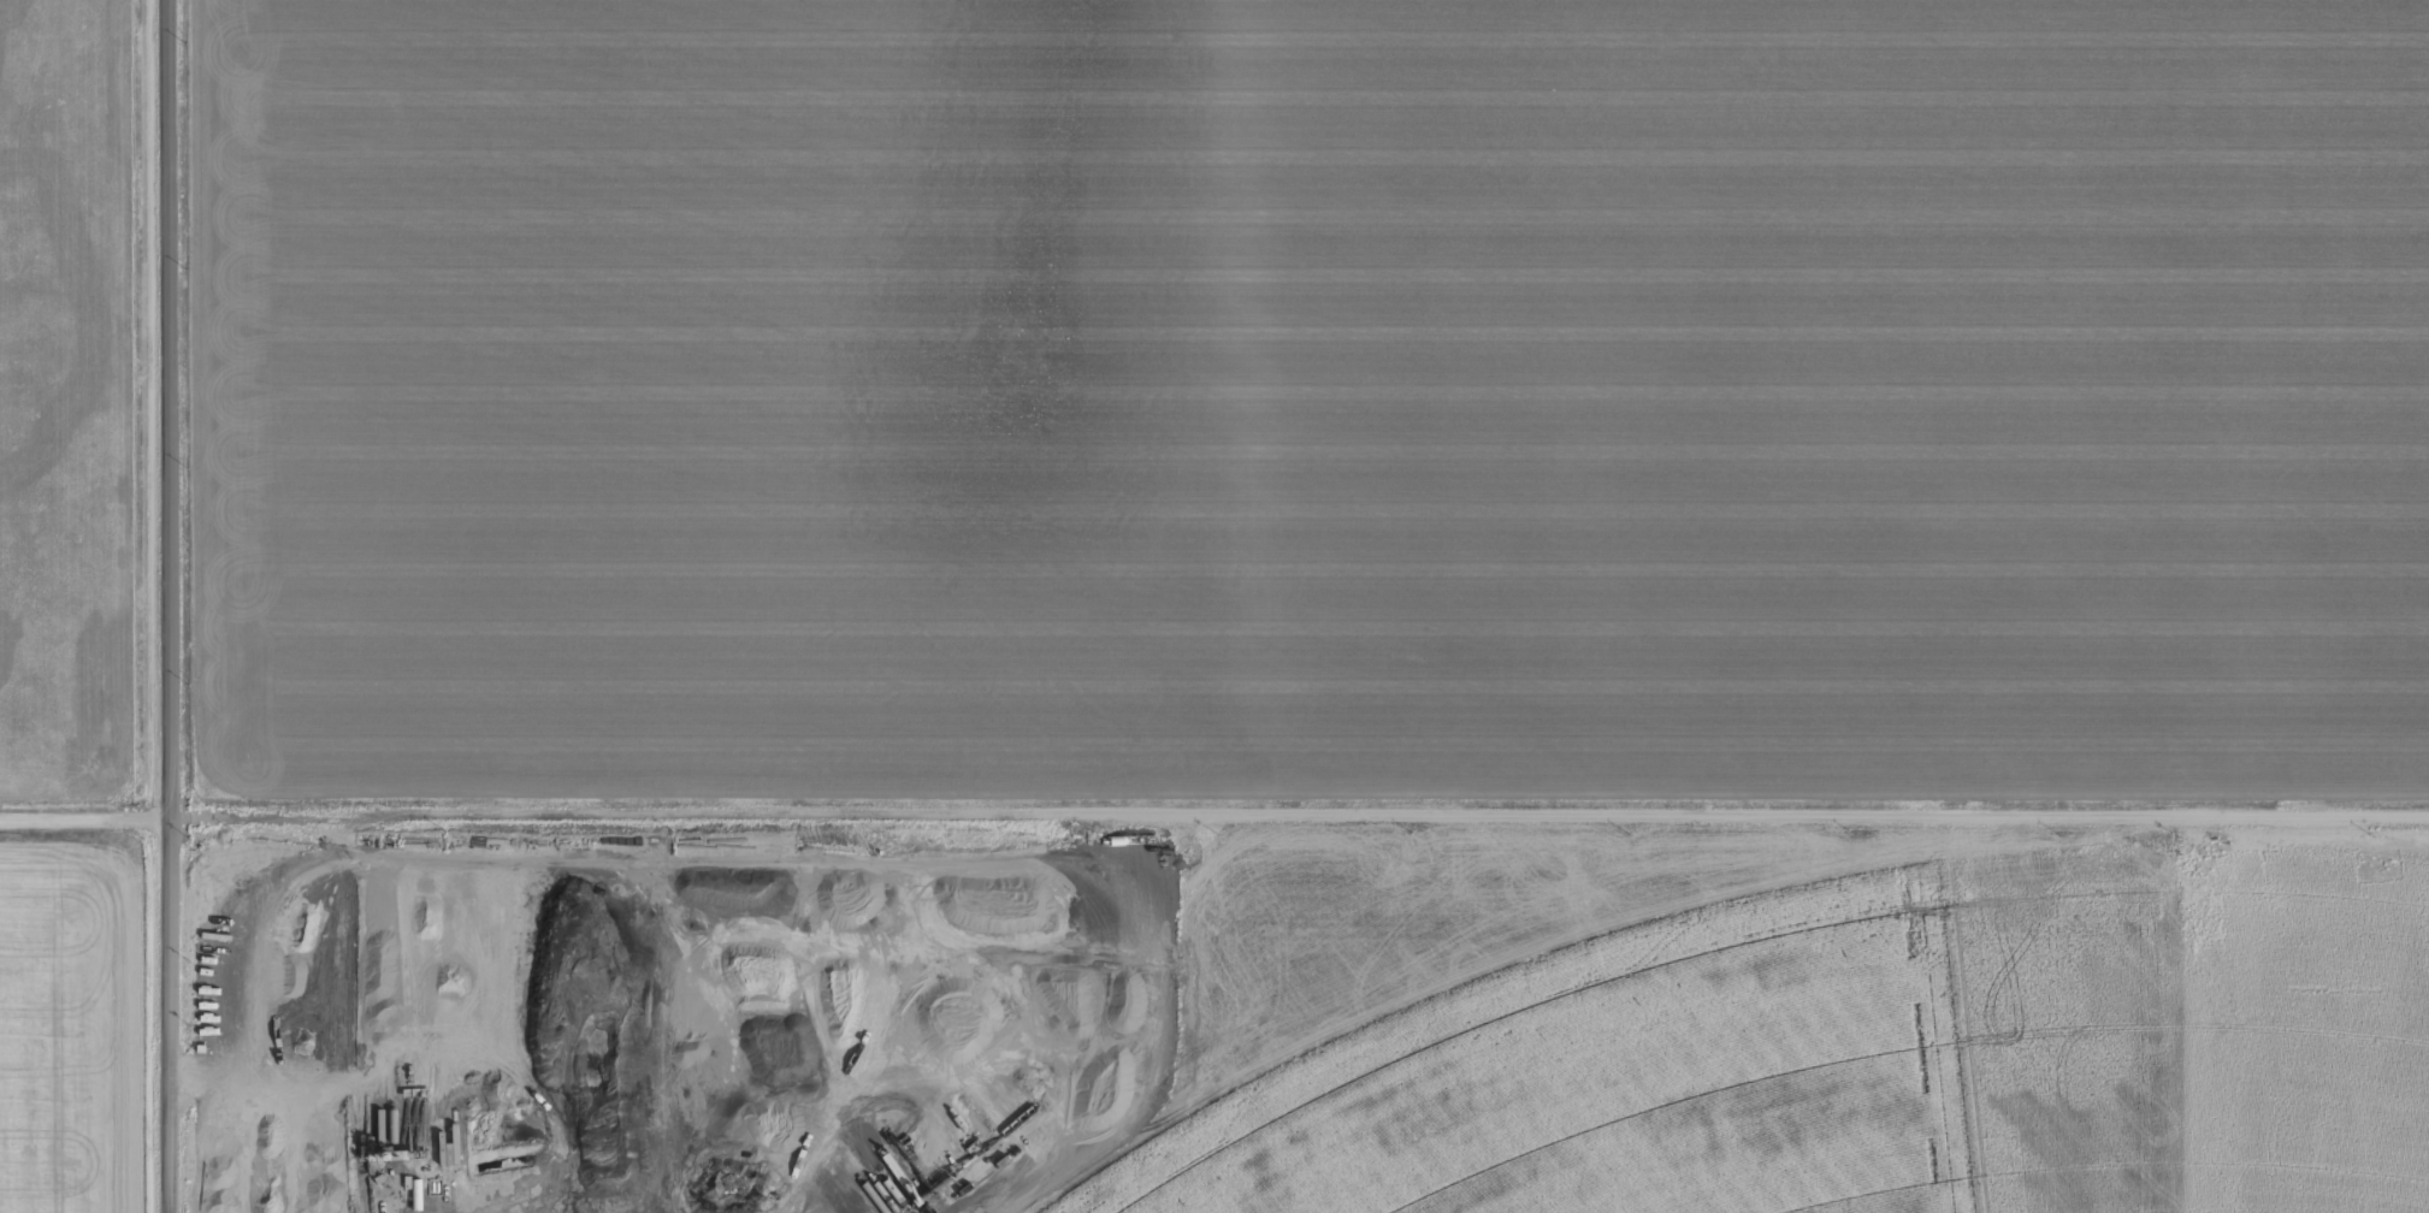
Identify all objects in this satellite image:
road: (171, 605)
road: (1214, 824)

